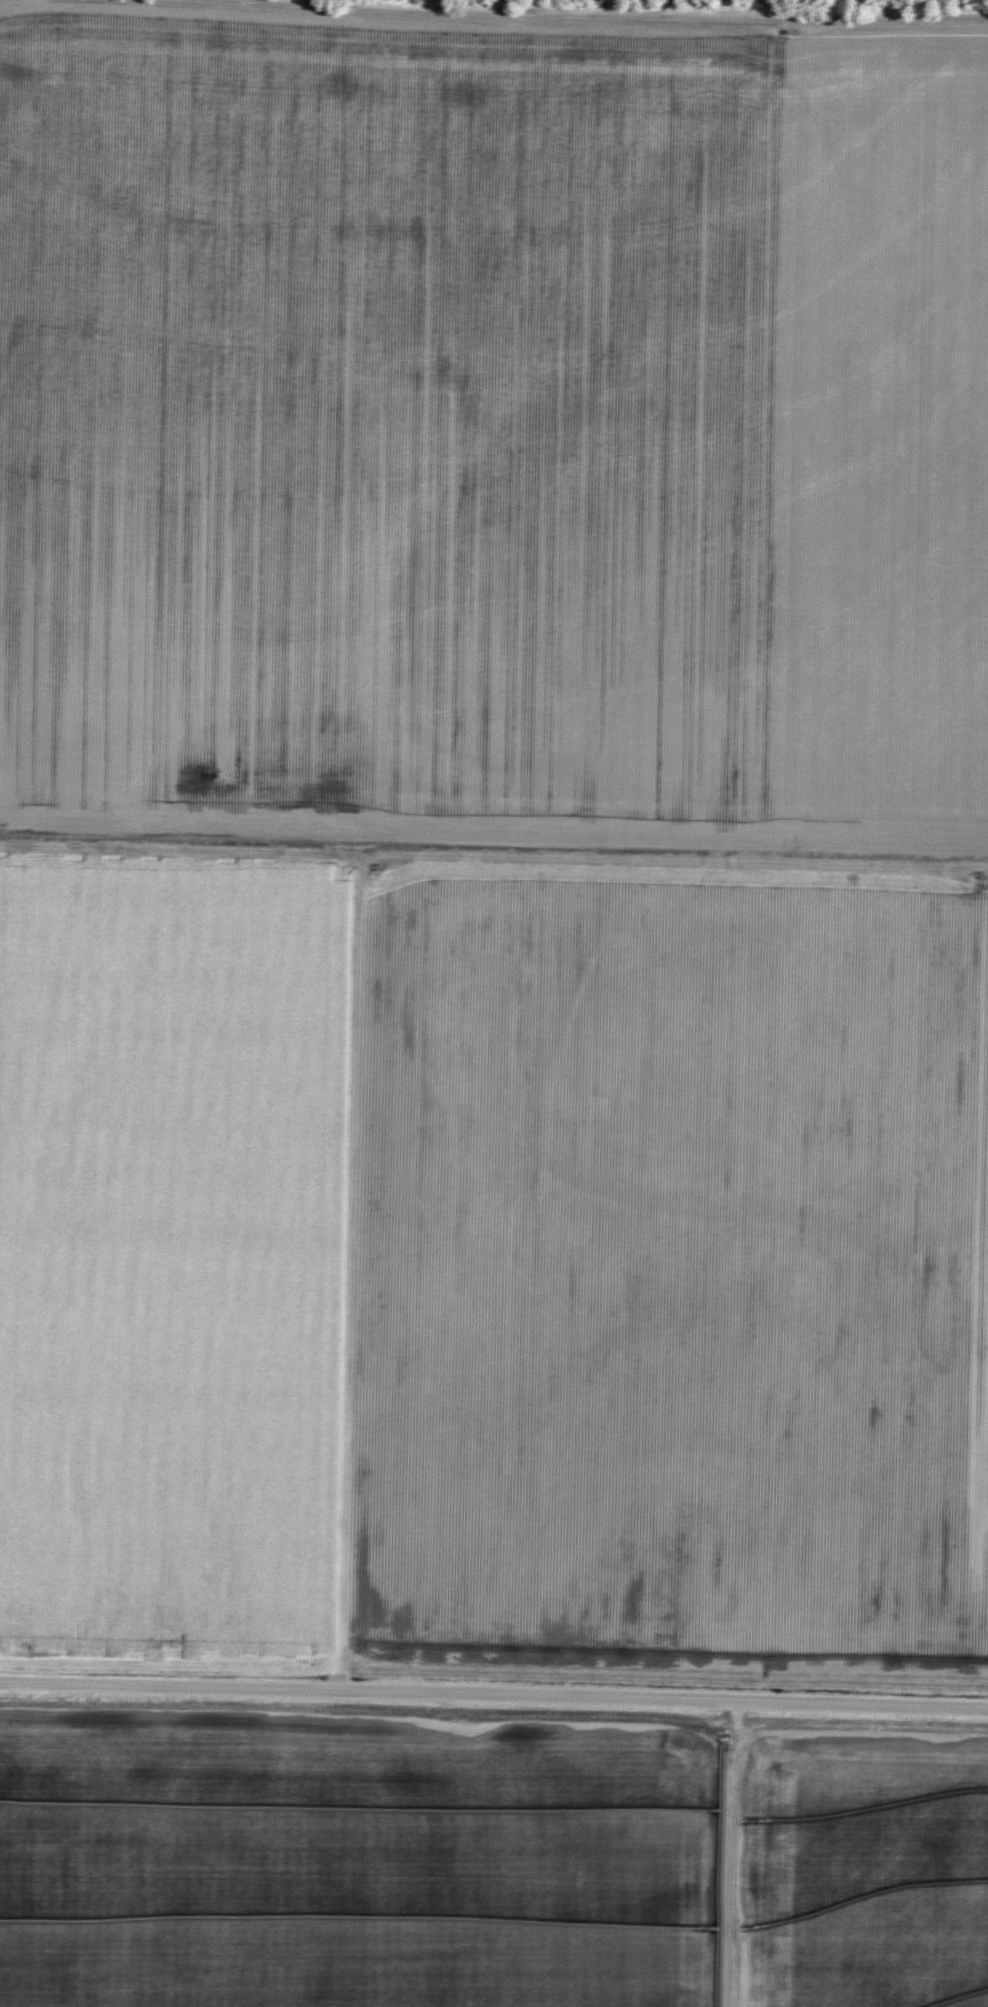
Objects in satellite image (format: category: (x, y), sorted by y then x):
road: (565, 18)
road: (494, 848)
road: (494, 1696)

